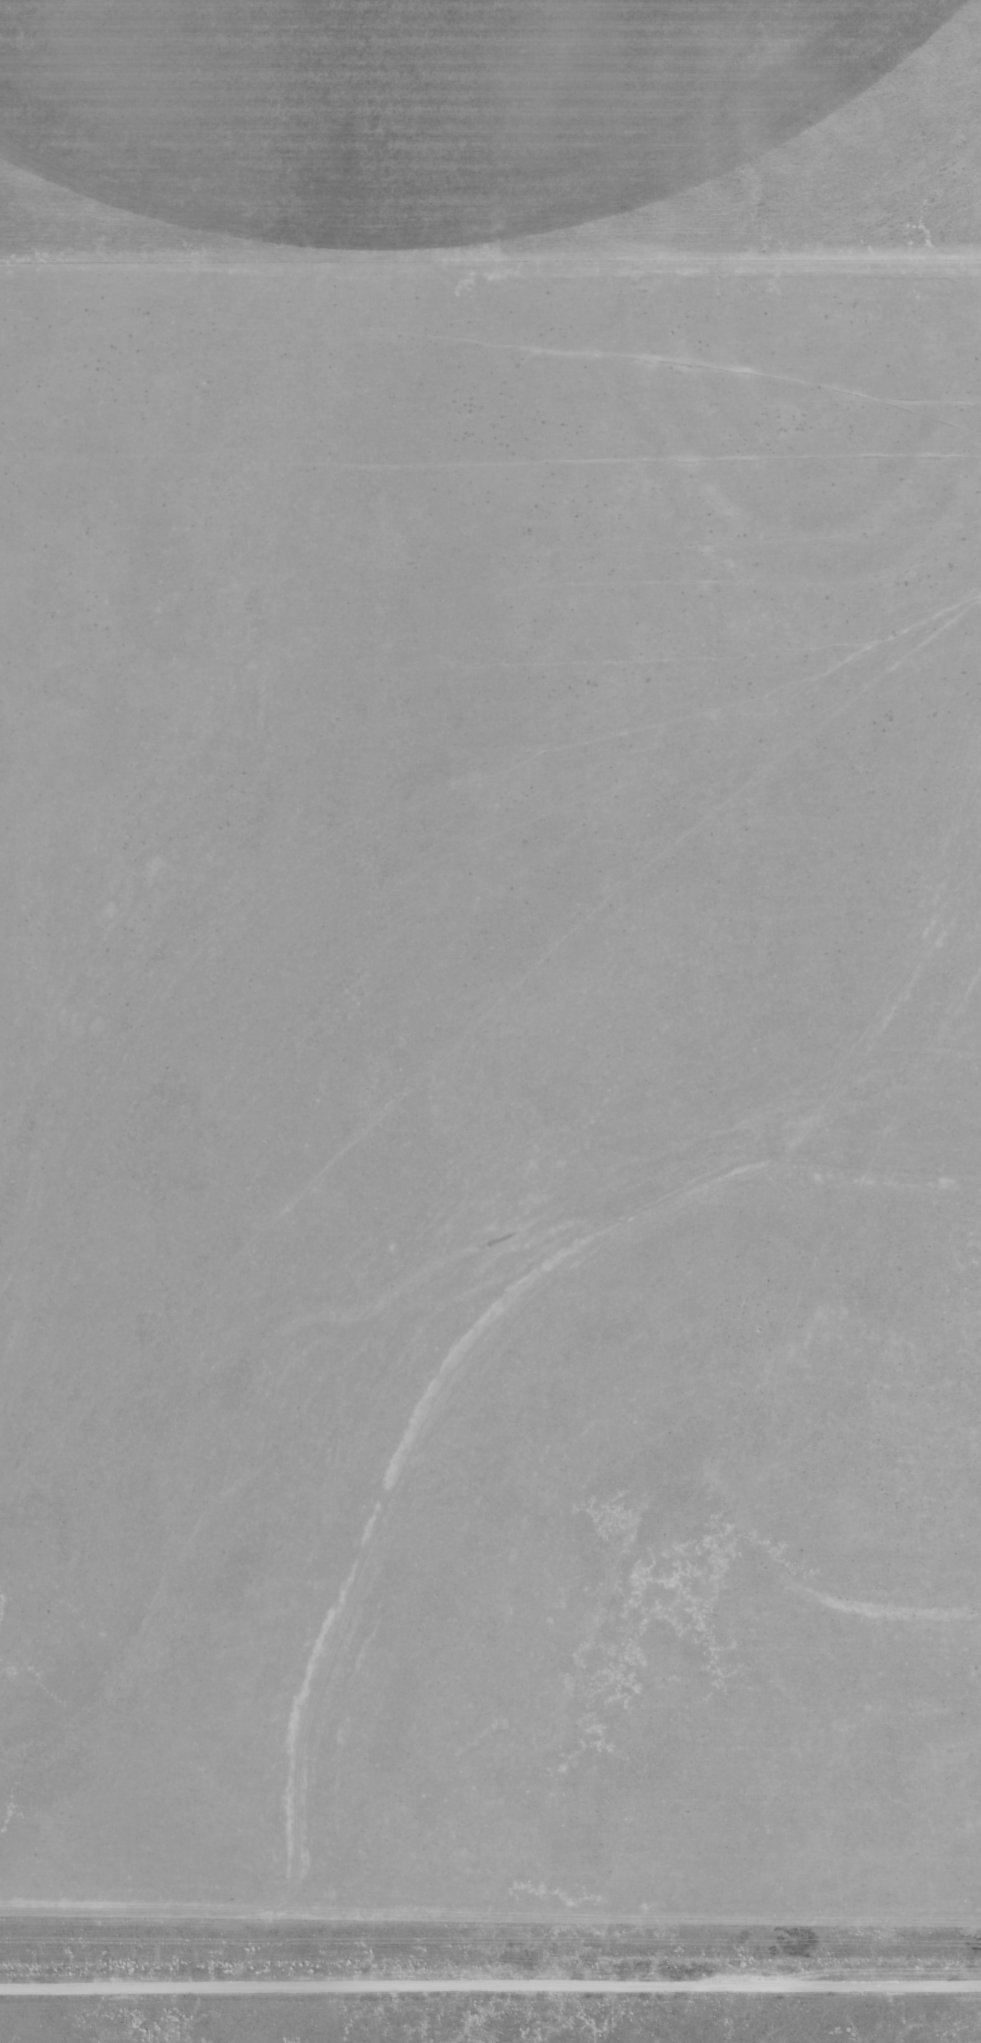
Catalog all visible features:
road: (490, 1953)

